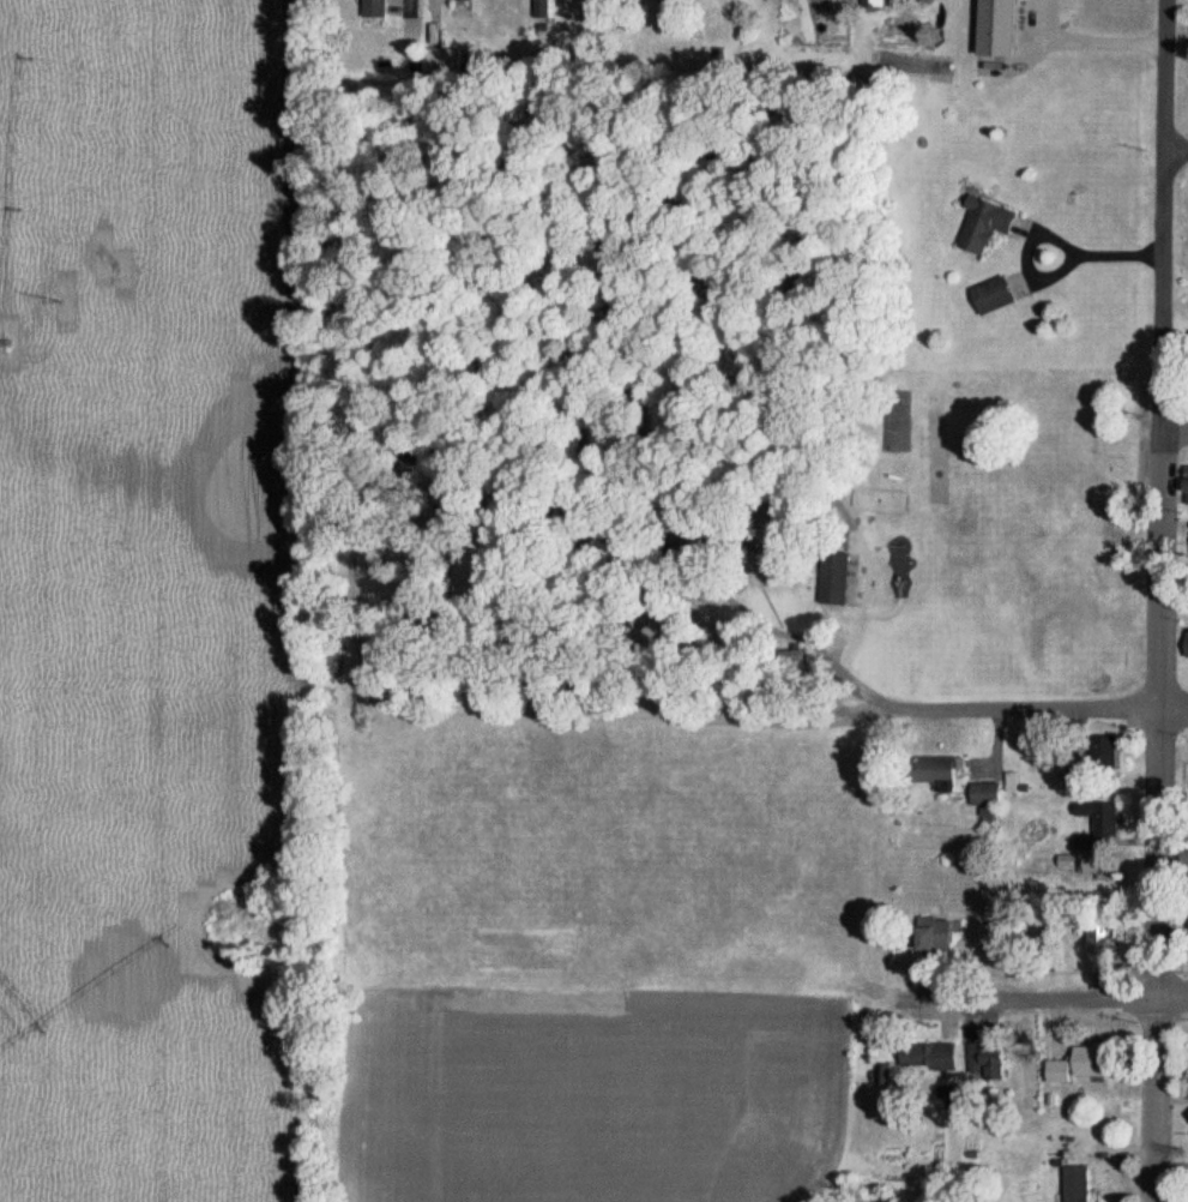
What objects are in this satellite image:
building: (378, 8)
building: (439, 61)
road: (1176, 146)
building: (981, 227)
power tower: (66, 284)
building: (988, 295)
road: (1174, 428)
building: (1182, 480)
road: (1157, 601)
building: (1186, 648)
road: (918, 707)
building: (1099, 749)
building: (934, 771)
building: (981, 794)
building: (1100, 822)
building: (933, 936)
road: (1061, 994)
building: (924, 1057)
building: (983, 1062)
building: (1078, 1064)
building: (1071, 1184)

